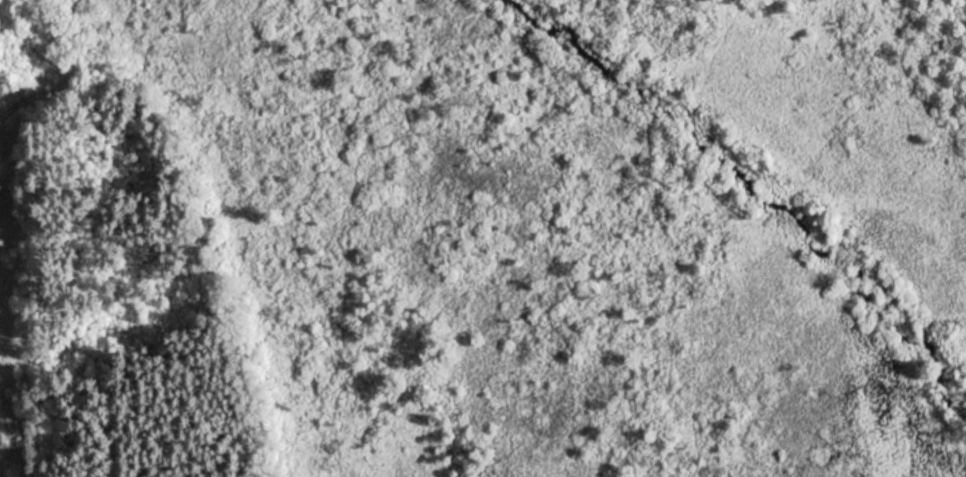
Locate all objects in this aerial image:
park: (483, 238)

